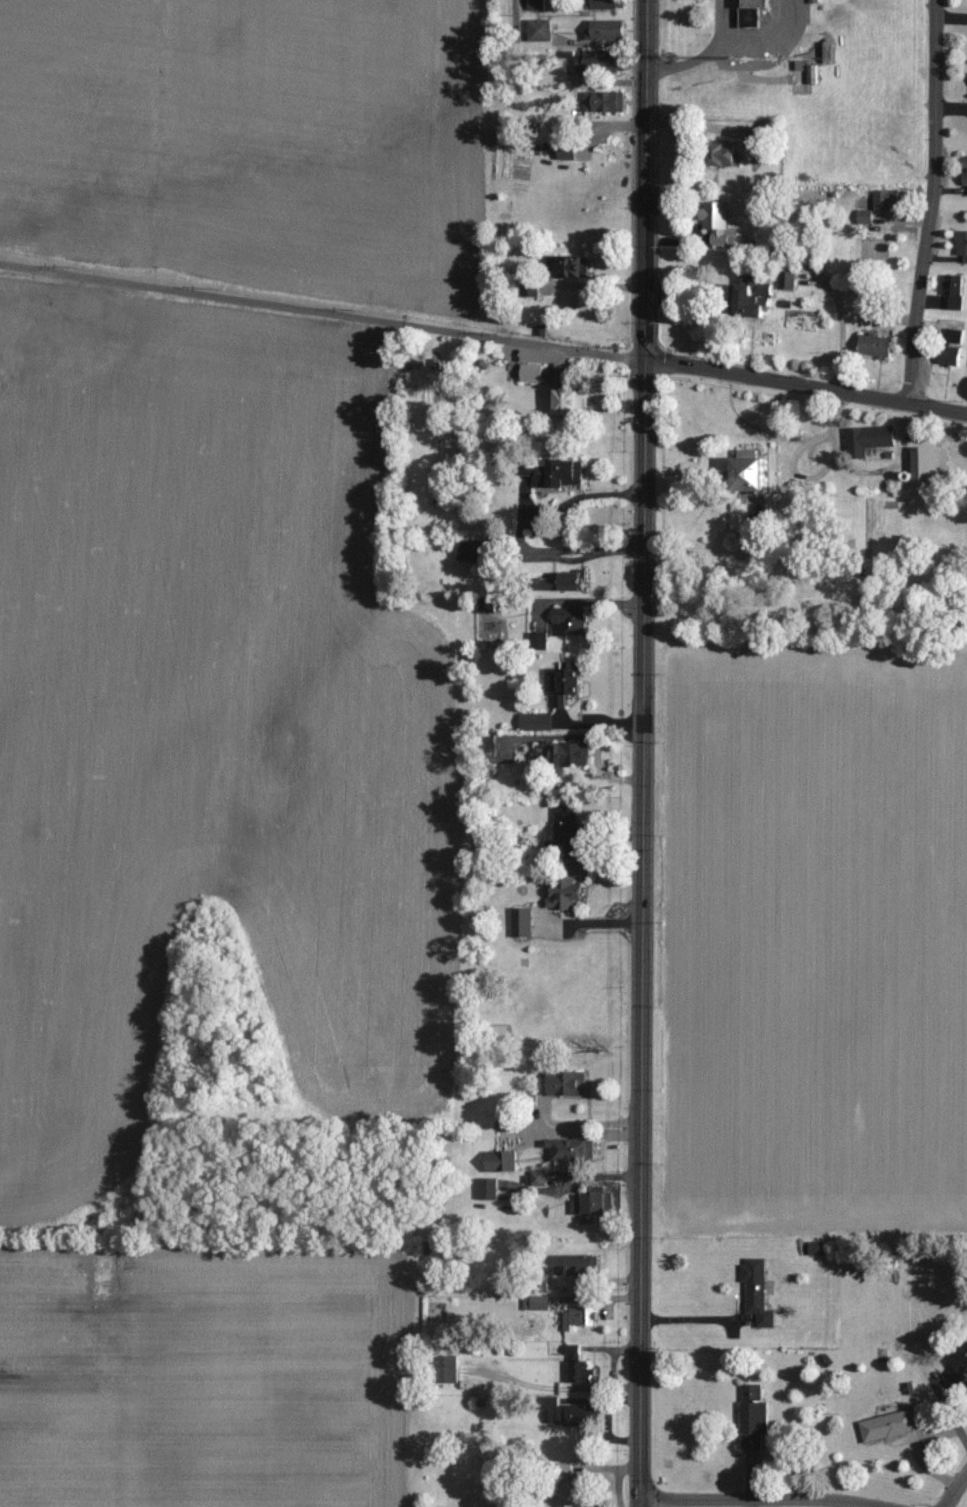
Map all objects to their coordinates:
building: (814, 1)
building: (609, 4)
building: (536, 5)
building: (754, 12)
road: (512, 15)
building: (540, 30)
building: (610, 30)
road: (706, 52)
building: (602, 62)
building: (608, 102)
building: (758, 135)
building: (567, 151)
building: (726, 155)
building: (965, 170)
building: (889, 200)
road: (928, 200)
building: (866, 217)
building: (719, 224)
building: (963, 244)
building: (575, 268)
building: (788, 280)
building: (531, 287)
building: (955, 292)
building: (754, 298)
road: (324, 309)
road: (841, 329)
building: (877, 345)
building: (951, 355)
building: (532, 373)
road: (807, 384)
building: (569, 400)
building: (870, 439)
road: (791, 464)
building: (930, 465)
building: (753, 470)
building: (562, 472)
building: (474, 549)
building: (567, 582)
building: (491, 605)
building: (570, 621)
building: (538, 640)
building: (562, 681)
building: (537, 721)
road: (645, 753)
building: (570, 754)
building: (567, 827)
building: (565, 893)
building: (523, 922)
building: (568, 1083)
building: (571, 1149)
building: (503, 1161)
building: (539, 1178)
building: (487, 1189)
building: (593, 1207)
building: (818, 1247)
building: (579, 1265)
building: (758, 1291)
building: (578, 1316)
building: (575, 1352)
building: (957, 1364)
building: (448, 1369)
building: (582, 1372)
building: (575, 1415)
building: (754, 1417)
building: (890, 1426)
road: (956, 1491)
building: (568, 1494)
road: (765, 1498)

